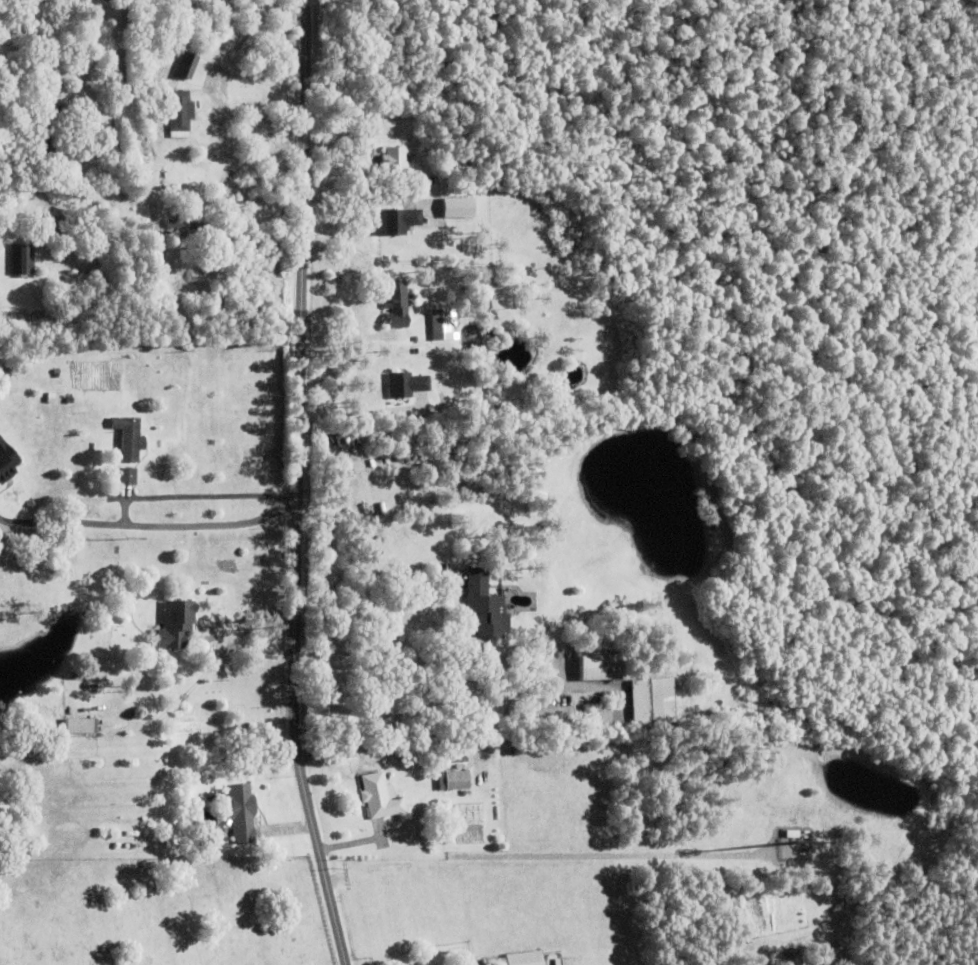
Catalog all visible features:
building: (186, 65)
building: (50, 109)
building: (179, 111)
road: (251, 123)
building: (46, 140)
building: (359, 157)
building: (395, 161)
building: (428, 181)
building: (26, 193)
building: (458, 208)
building: (397, 221)
building: (59, 226)
building: (188, 227)
building: (22, 259)
building: (396, 304)
building: (441, 325)
building: (489, 365)
building: (406, 385)
building: (552, 388)
building: (50, 398)
building: (69, 400)
building: (491, 420)
building: (129, 439)
building: (8, 459)
building: (127, 477)
road: (299, 485)
road: (193, 494)
road: (61, 521)
road: (214, 524)
building: (486, 607)
road: (250, 621)
building: (175, 624)
building: (603, 666)
building: (661, 701)
building: (146, 717)
building: (551, 719)
building: (602, 719)
building: (77, 727)
building: (456, 781)
building: (379, 798)
building: (237, 806)
building: (196, 833)
building: (208, 841)
road: (540, 856)
building: (517, 960)

